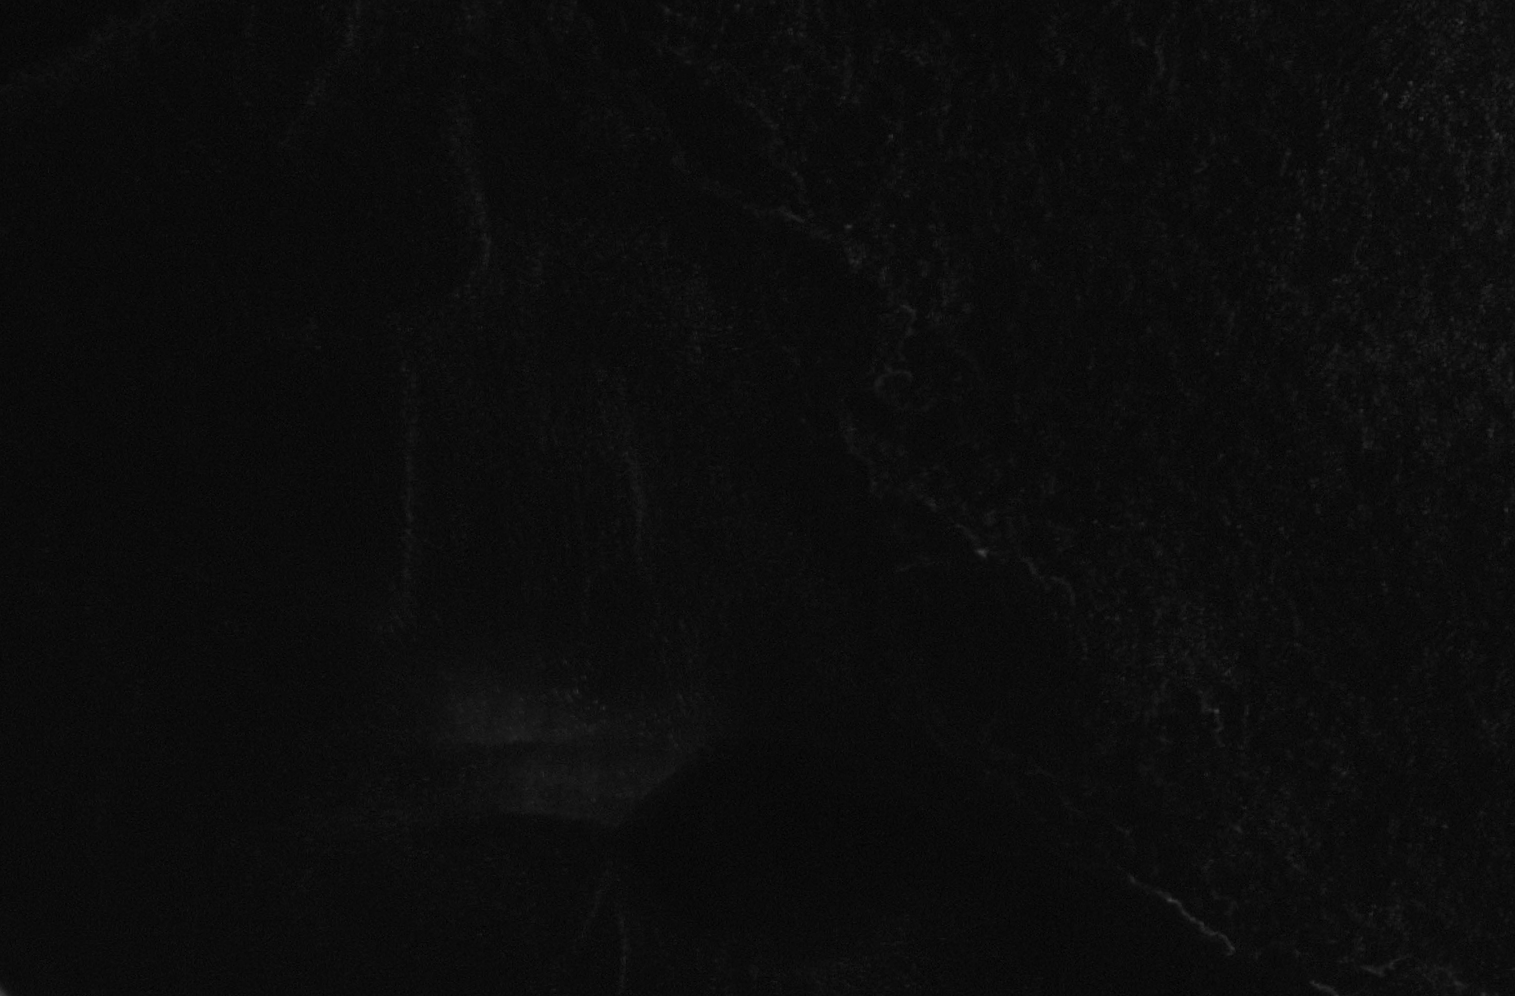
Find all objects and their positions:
river: (1092, 454)

